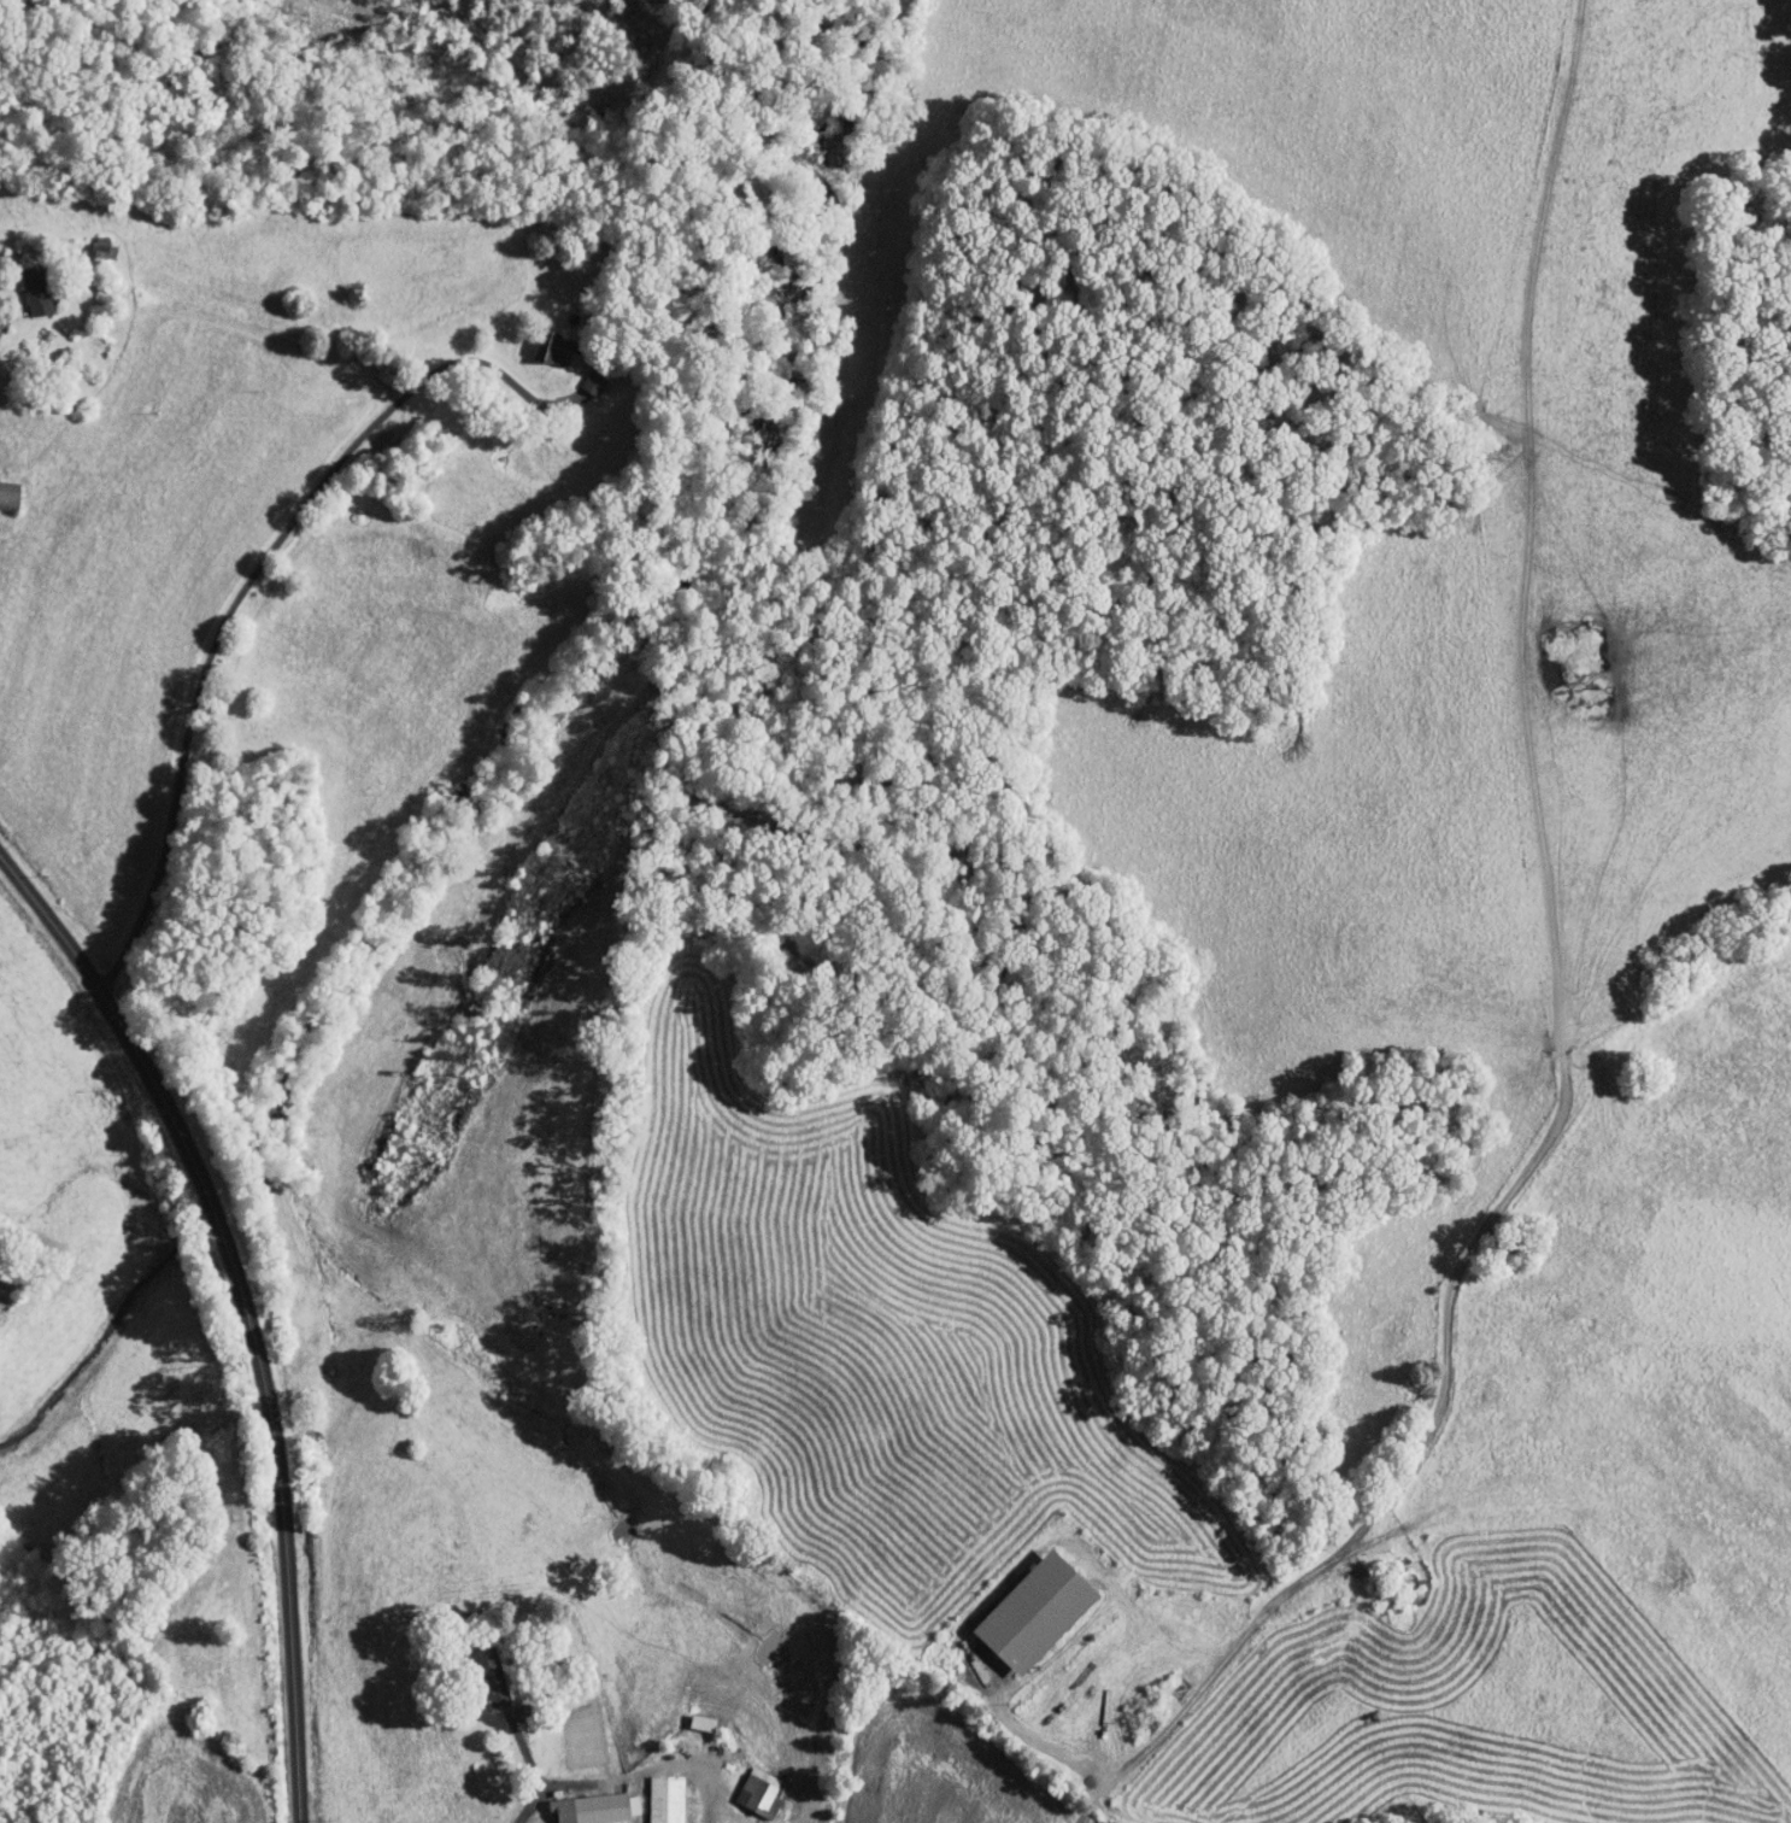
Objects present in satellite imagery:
building: (30, 291)
building: (529, 344)
building: (548, 350)
road: (4, 353)
road: (243, 585)
road: (246, 1311)
building: (1024, 1611)
road: (1222, 1659)
building: (487, 1673)
road: (524, 1760)
building: (756, 1793)
building: (663, 1798)
building: (593, 1807)

